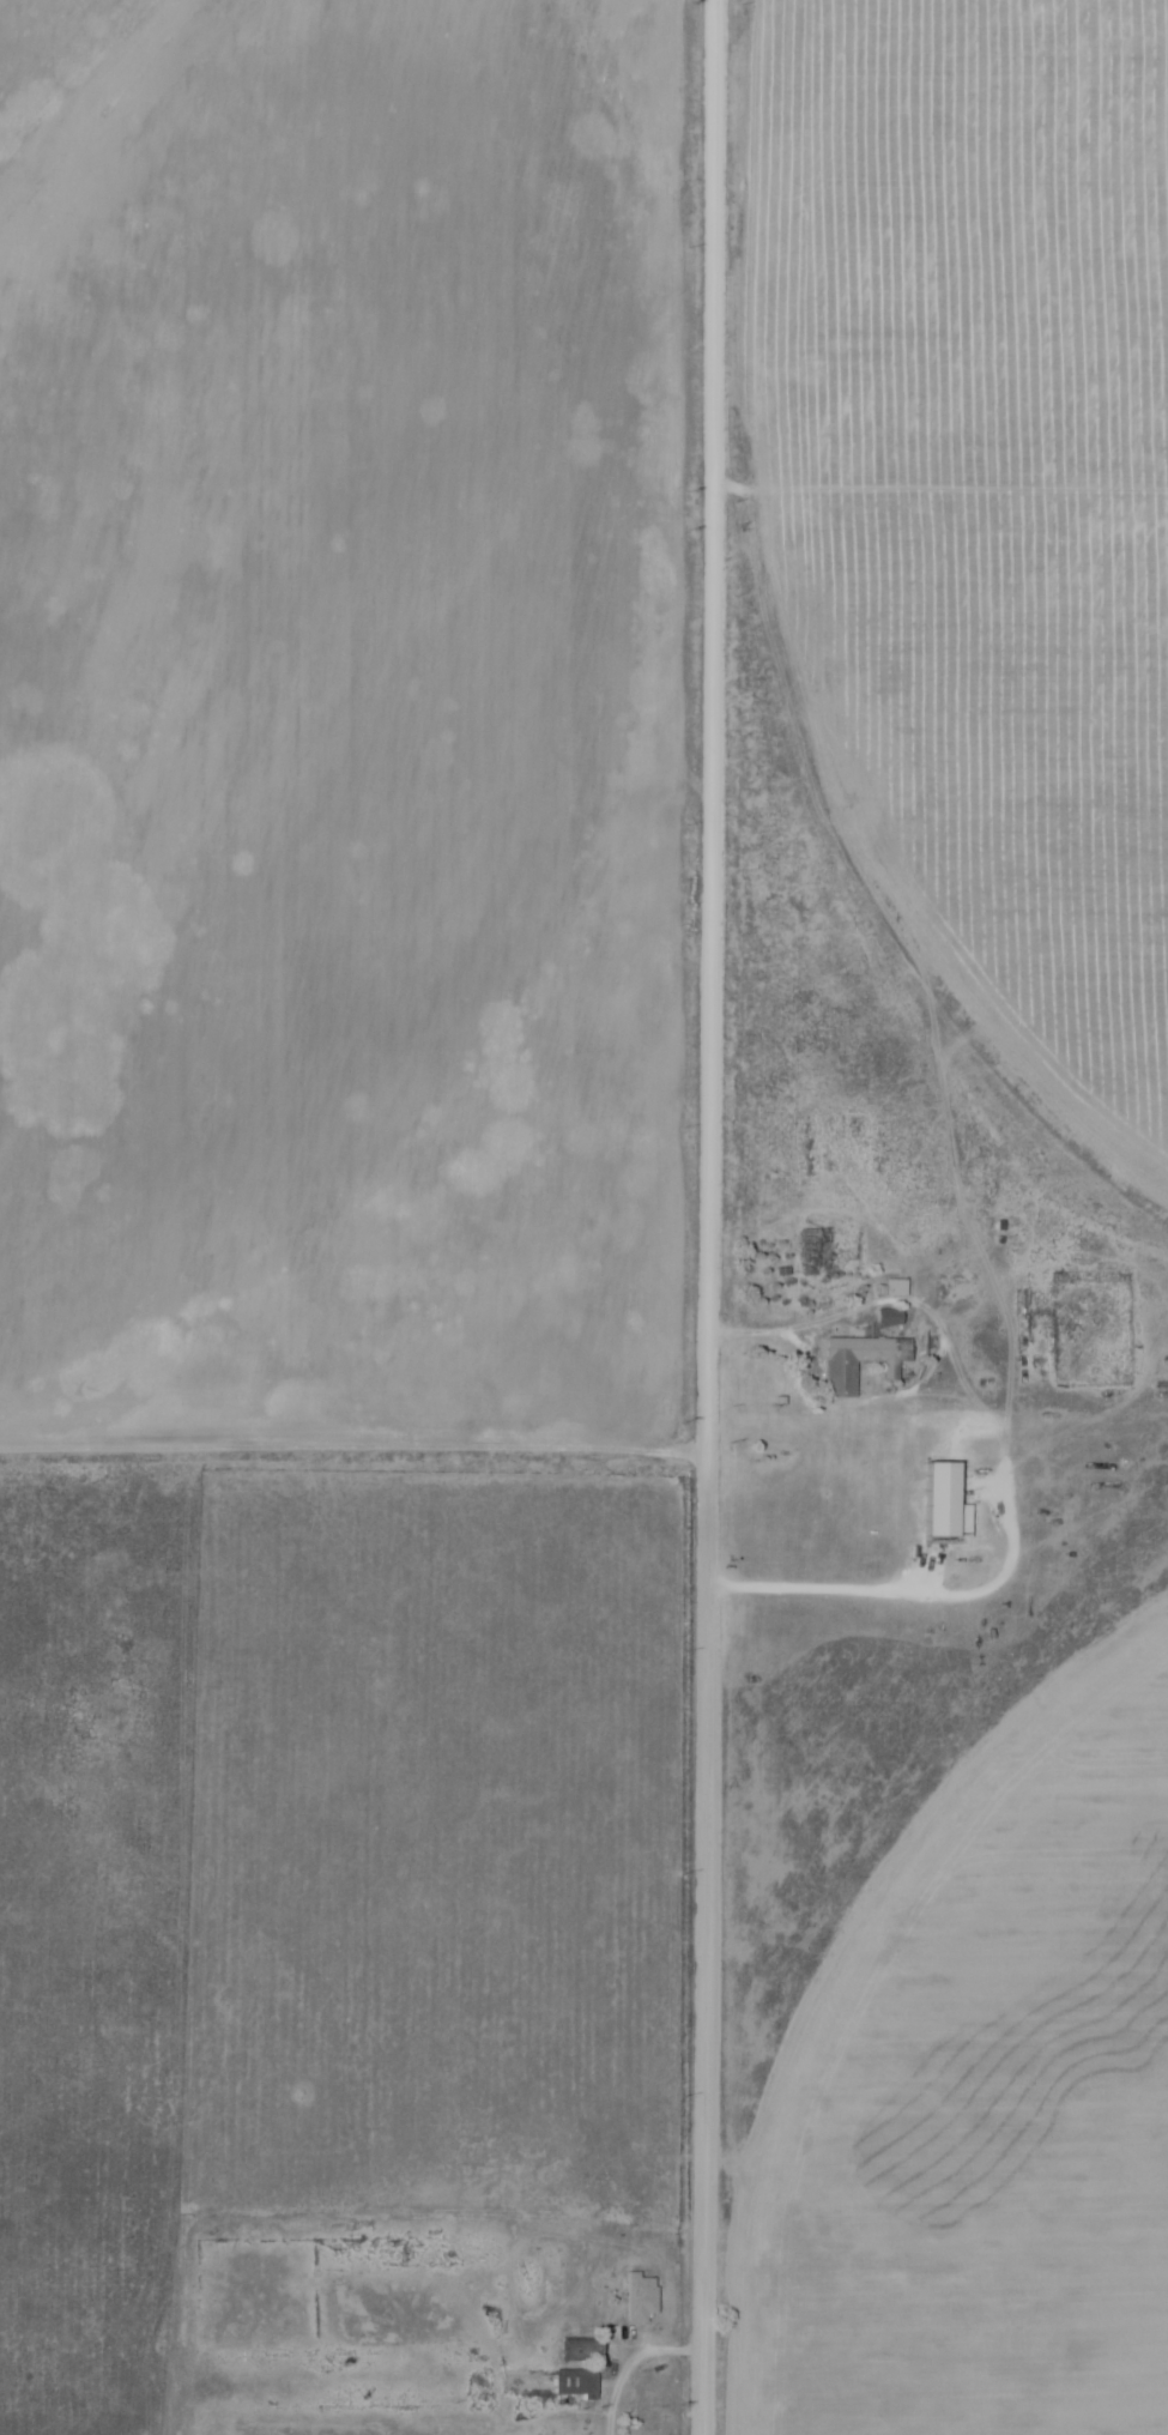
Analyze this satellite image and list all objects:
road: (712, 1217)
building: (894, 1289)
building: (891, 1319)
road: (787, 1335)
building: (843, 1370)
building: (641, 2300)
road: (637, 2368)

